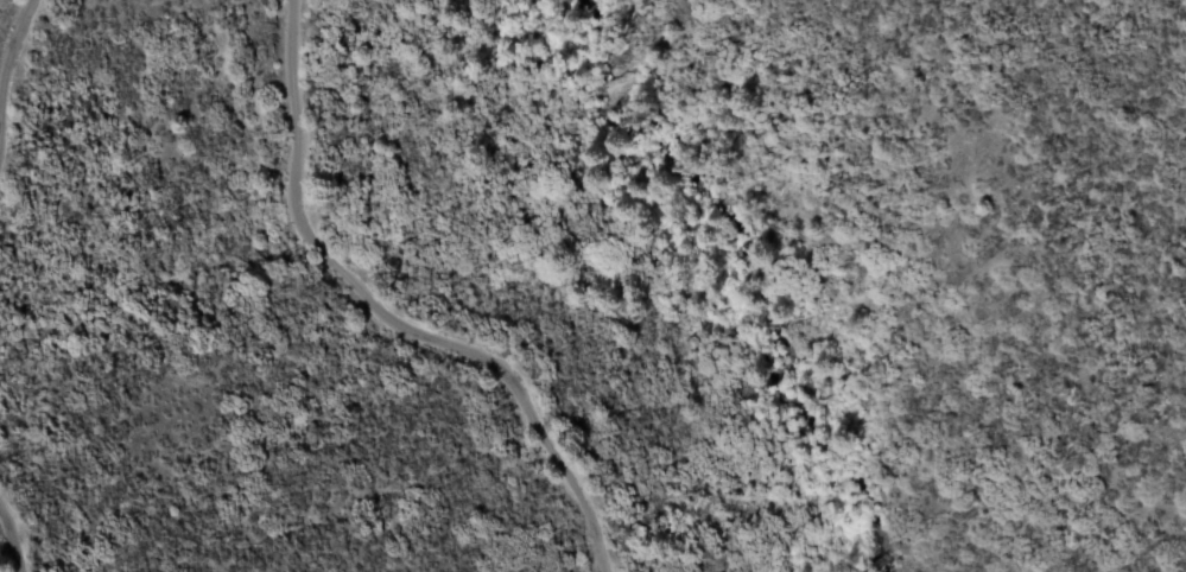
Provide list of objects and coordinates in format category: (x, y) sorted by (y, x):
road: (375, 309)

